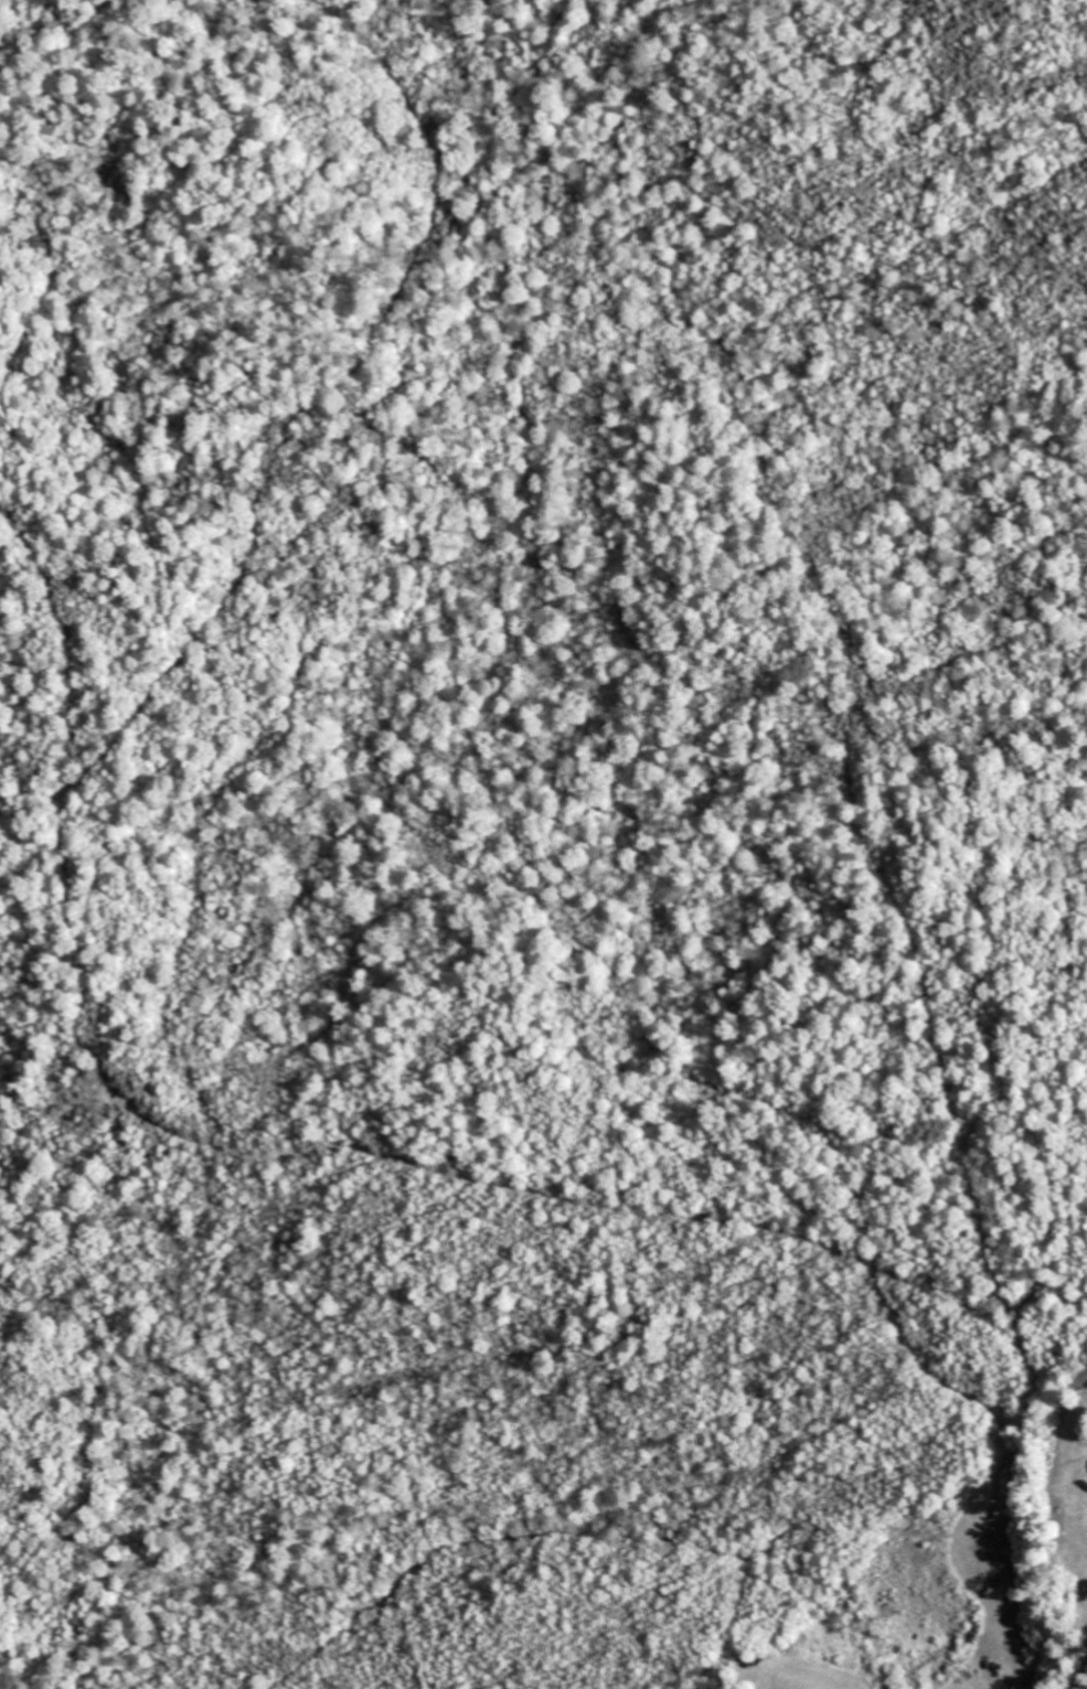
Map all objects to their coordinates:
road: (1081, 1680)

